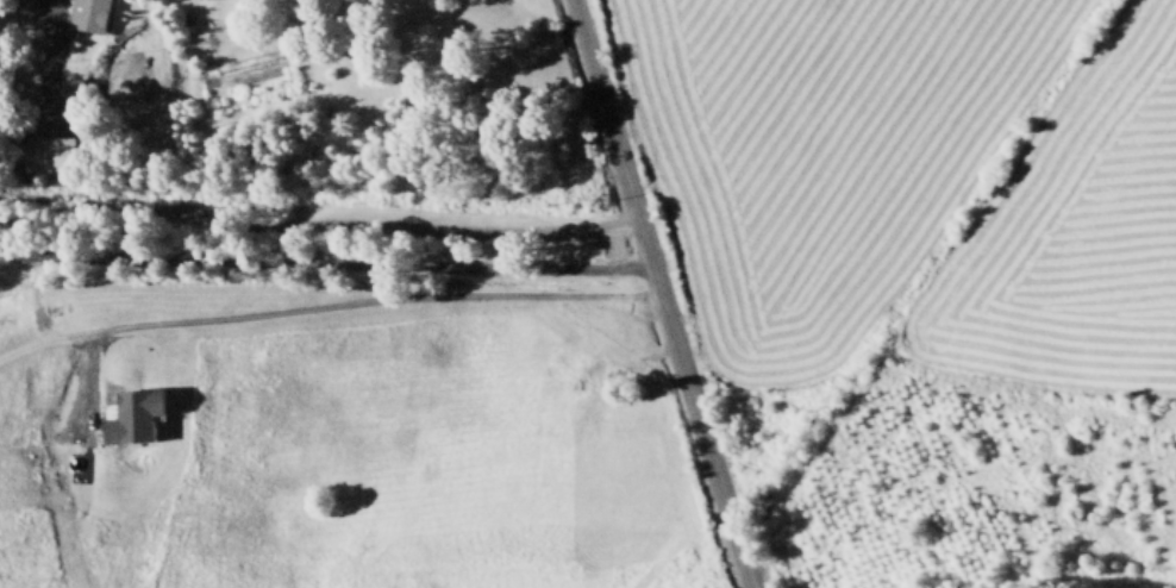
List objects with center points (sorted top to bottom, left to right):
building: (87, 14)
road: (46, 49)
building: (48, 151)
crop: (887, 190)
road: (317, 218)
road: (325, 259)
road: (659, 294)
road: (336, 296)
building: (129, 414)

